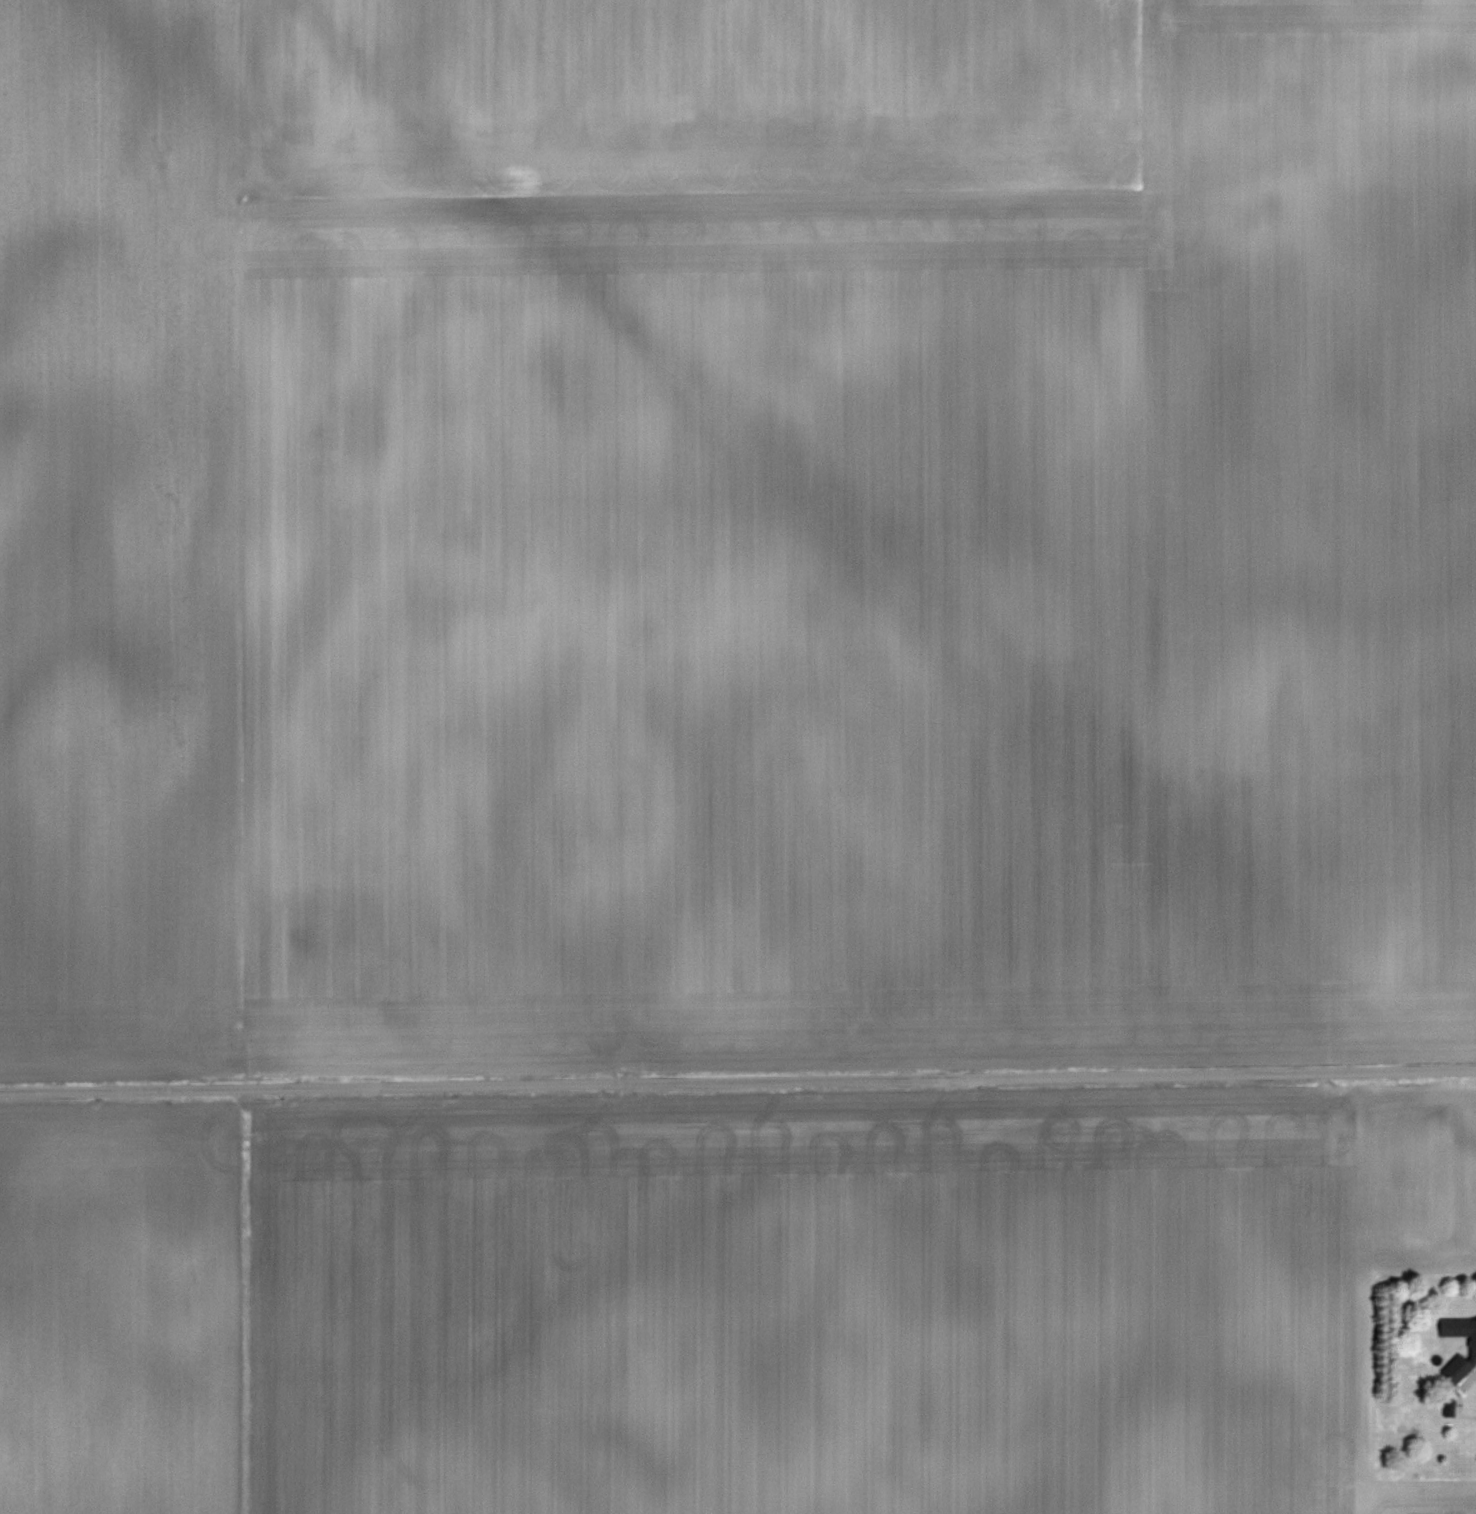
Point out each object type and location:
road: (738, 1076)
road: (231, 1299)
building: (1474, 1344)

